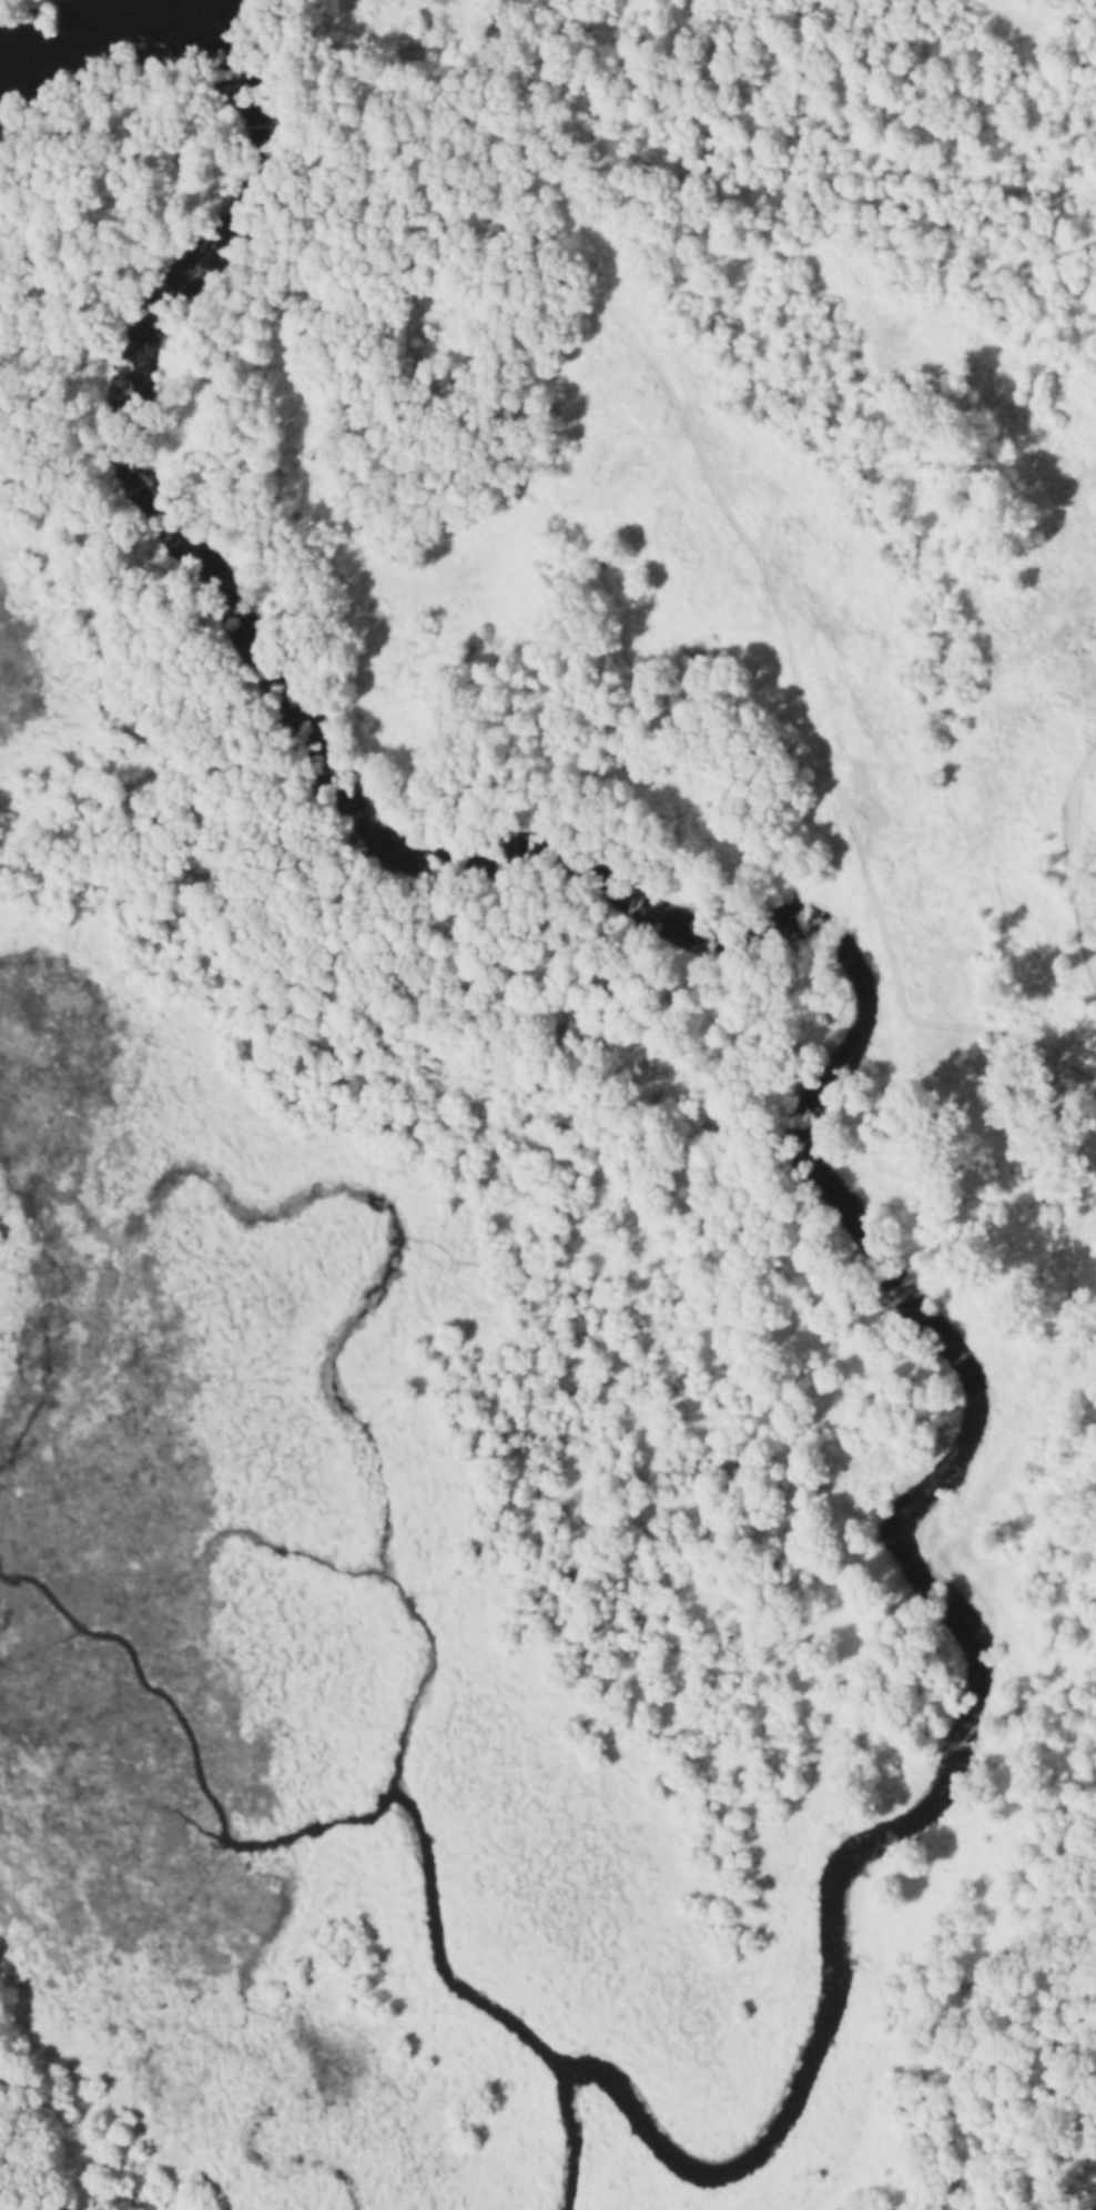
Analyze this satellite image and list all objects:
road: (1048, 2095)

